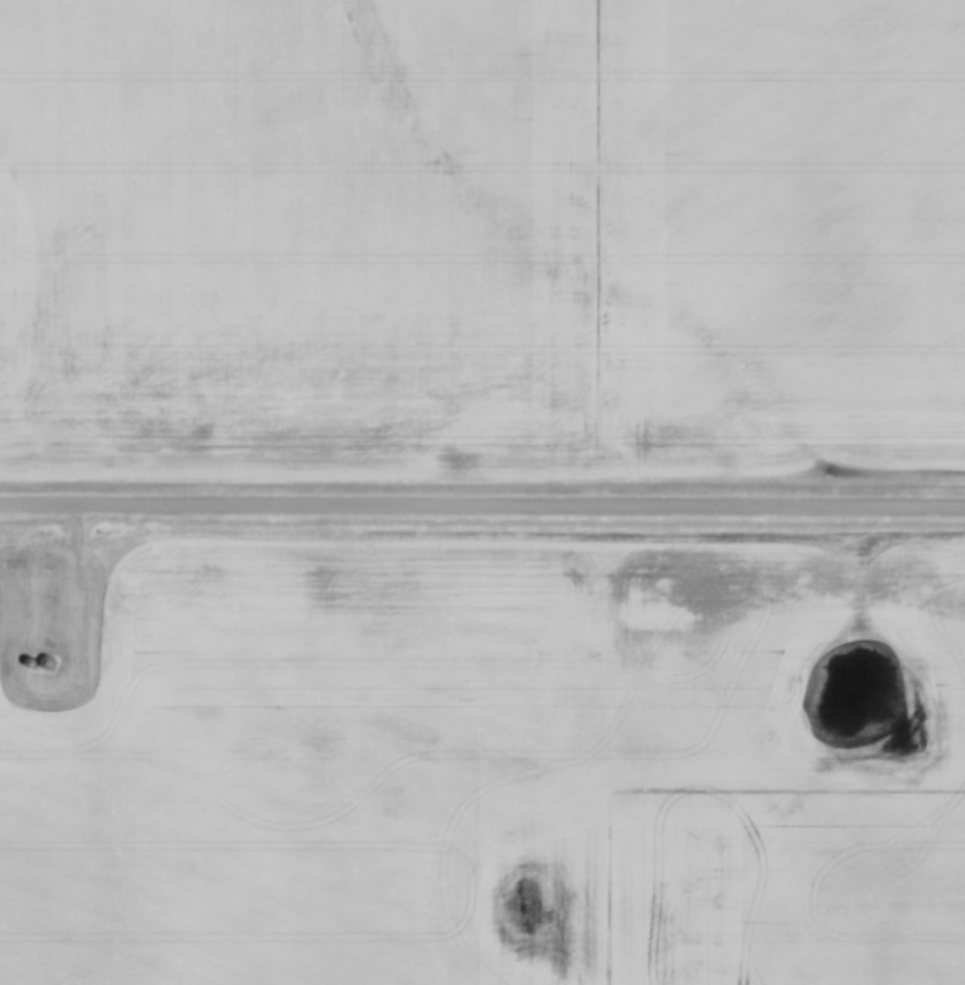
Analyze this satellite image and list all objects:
road: (482, 502)
building: (42, 665)

